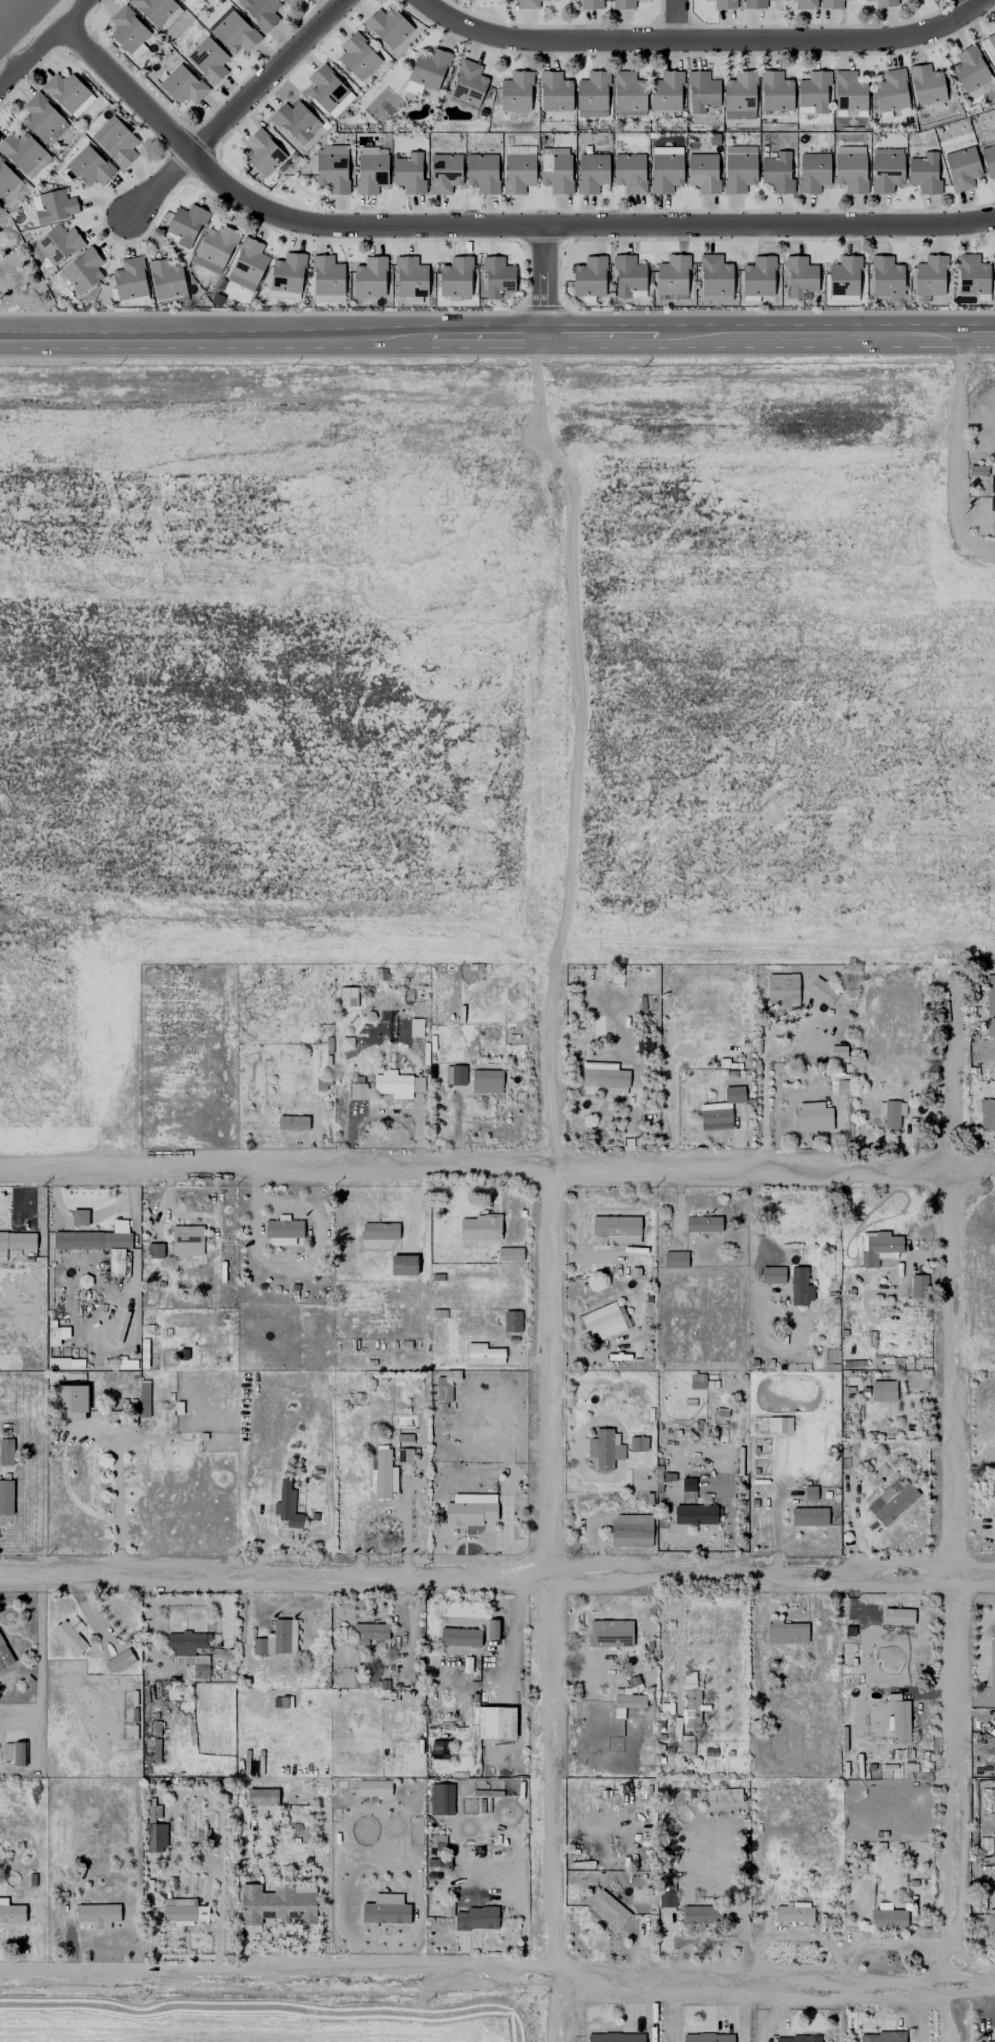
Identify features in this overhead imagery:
building: (284, 0)
building: (297, 0)
building: (866, 0)
building: (186, 2)
building: (884, 3)
building: (527, 4)
building: (588, 4)
building: (623, 4)
building: (723, 4)
building: (754, 4)
building: (804, 4)
building: (831, 4)
building: (156, 10)
building: (260, 11)
road: (672, 20)
building: (387, 27)
building: (232, 31)
building: (128, 32)
road: (700, 40)
building: (991, 43)
road: (43, 44)
building: (358, 57)
building: (207, 60)
building: (428, 68)
building: (969, 69)
building: (182, 85)
building: (467, 85)
building: (926, 85)
building: (412, 88)
building: (326, 89)
building: (702, 91)
building: (775, 91)
building: (515, 92)
building: (554, 92)
building: (628, 92)
building: (666, 92)
building: (812, 92)
building: (849, 93)
building: (68, 94)
building: (592, 94)
building: (739, 96)
road: (233, 110)
building: (41, 118)
building: (295, 122)
building: (115, 141)
building: (23, 153)
building: (262, 153)
building: (988, 160)
building: (89, 167)
building: (332, 168)
building: (738, 168)
building: (850, 168)
building: (962, 168)
building: (555, 169)
building: (665, 169)
building: (370, 170)
building: (591, 172)
building: (703, 172)
building: (812, 172)
building: (886, 172)
building: (408, 173)
building: (444, 173)
building: (482, 173)
building: (518, 173)
building: (629, 173)
building: (777, 173)
building: (923, 173)
building: (6, 180)
road: (490, 225)
building: (185, 226)
building: (58, 244)
building: (214, 249)
building: (994, 261)
building: (247, 265)
building: (82, 270)
building: (287, 273)
building: (972, 275)
building: (327, 276)
building: (672, 276)
building: (758, 276)
building: (844, 276)
building: (930, 276)
building: (369, 277)
building: (410, 277)
building: (455, 277)
building: (497, 277)
building: (589, 277)
building: (715, 277)
building: (800, 277)
building: (886, 277)
building: (129, 279)
building: (166, 279)
road: (543, 281)
road: (497, 337)
road: (956, 439)
building: (992, 493)
road: (977, 551)
road: (568, 645)
building: (782, 991)
building: (821, 991)
building: (990, 995)
building: (347, 997)
building: (415, 1028)
building: (990, 1028)
building: (643, 1045)
building: (837, 1051)
road: (764, 1067)
building: (454, 1075)
building: (603, 1079)
building: (486, 1081)
building: (397, 1084)
building: (357, 1091)
building: (733, 1094)
building: (892, 1114)
building: (987, 1114)
building: (813, 1116)
building: (292, 1119)
building: (715, 1119)
road: (497, 1171)
building: (79, 1218)
building: (703, 1224)
building: (479, 1228)
building: (615, 1230)
building: (283, 1231)
building: (186, 1240)
building: (16, 1241)
building: (99, 1244)
building: (878, 1248)
building: (155, 1250)
building: (509, 1254)
building: (675, 1260)
building: (404, 1265)
building: (772, 1275)
building: (918, 1286)
building: (800, 1287)
building: (511, 1321)
building: (602, 1322)
building: (483, 1354)
building: (124, 1363)
building: (446, 1385)
building: (70, 1402)
building: (778, 1424)
building: (638, 1444)
building: (604, 1449)
building: (6, 1452)
building: (383, 1476)
building: (687, 1488)
building: (809, 1493)
building: (5, 1497)
road: (549, 1499)
building: (891, 1501)
building: (994, 1502)
building: (287, 1506)
road: (117, 1507)
building: (470, 1509)
building: (694, 1514)
road: (946, 1514)
building: (809, 1517)
building: (631, 1530)
road: (497, 1583)
building: (492, 1629)
building: (785, 1632)
building: (368, 1633)
building: (610, 1633)
building: (70, 1635)
building: (459, 1637)
building: (277, 1639)
building: (191, 1650)
building: (4, 1656)
building: (118, 1662)
building: (992, 1665)
building: (629, 1701)
building: (690, 1702)
building: (899, 1719)
building: (495, 1723)
building: (682, 1739)
building: (14, 1752)
building: (373, 1788)
building: (724, 1796)
building: (261, 1797)
building: (441, 1799)
building: (156, 1830)
building: (666, 1899)
building: (277, 1904)
building: (607, 1908)
building: (386, 1910)
building: (184, 1911)
building: (11, 1913)
building: (794, 1913)
building: (97, 1915)
building: (701, 1915)
building: (476, 1918)
building: (888, 1919)
building: (990, 1921)
road: (497, 1984)
building: (615, 2037)
building: (707, 2037)
building: (881, 2037)
building: (796, 2039)
building: (987, 2041)

